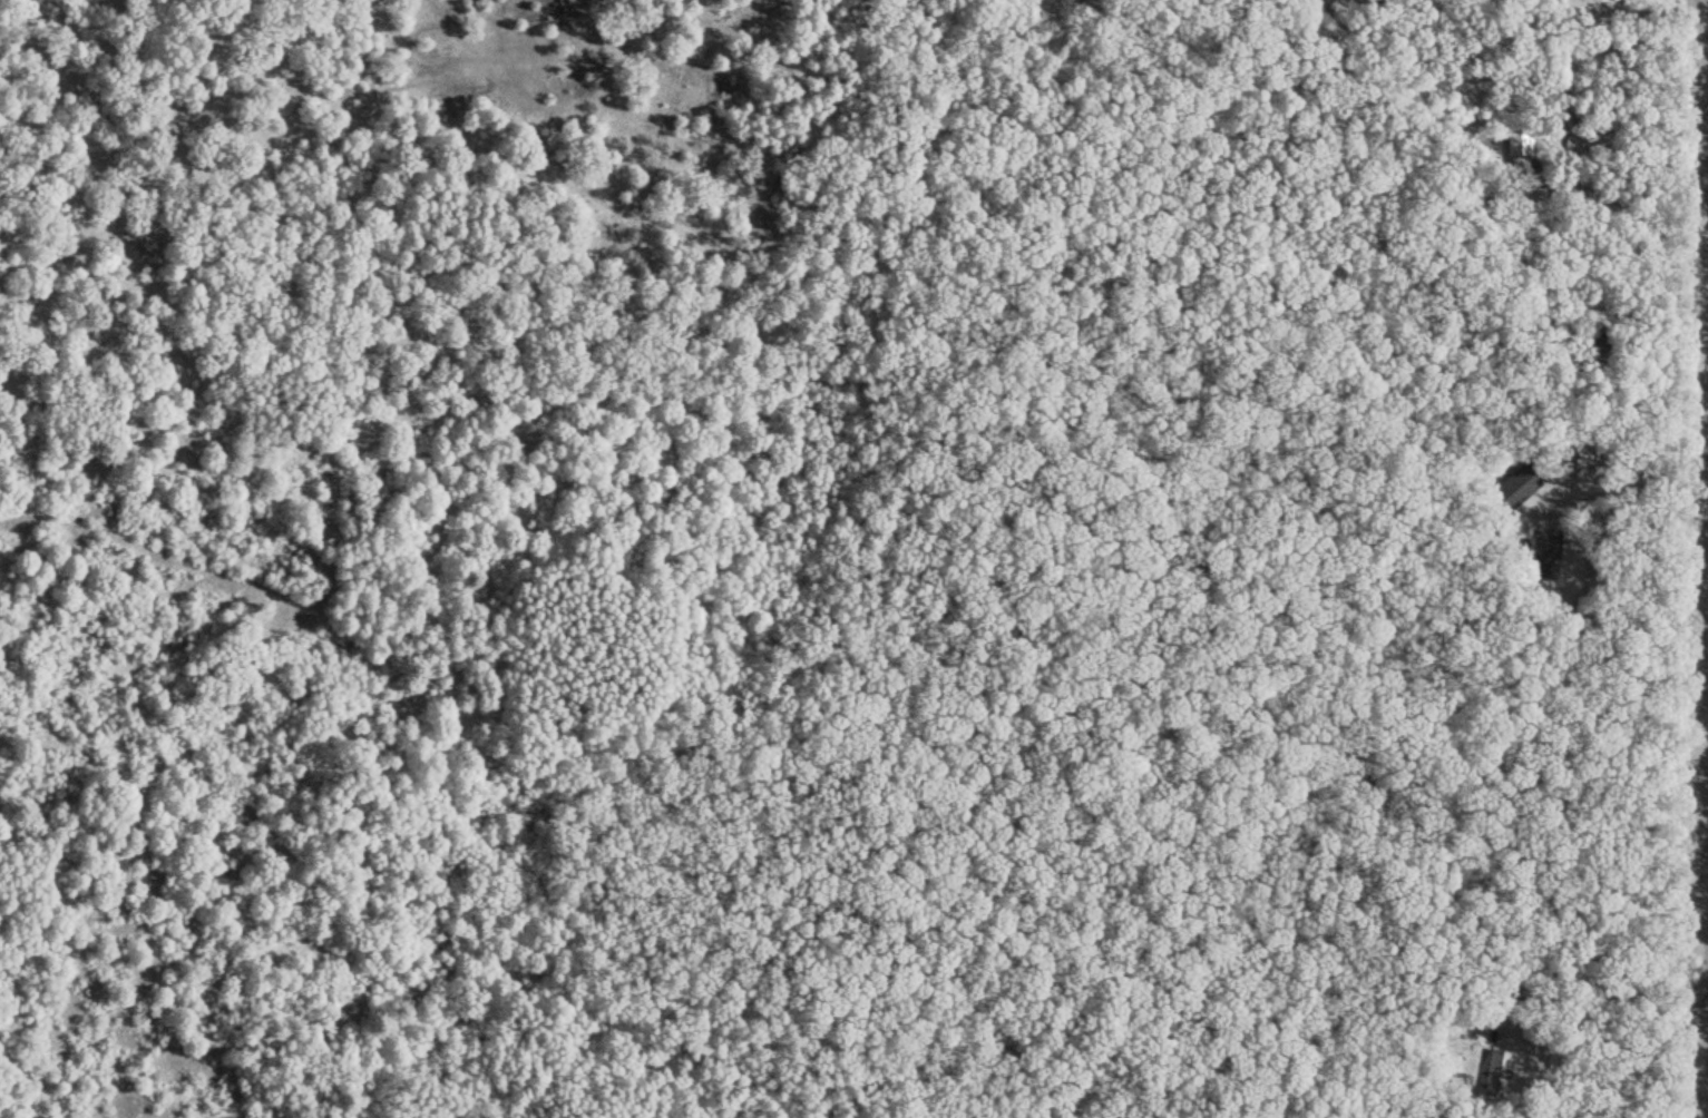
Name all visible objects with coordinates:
building: (1517, 140)
building: (1515, 484)
building: (1546, 552)
building: (1499, 1068)

